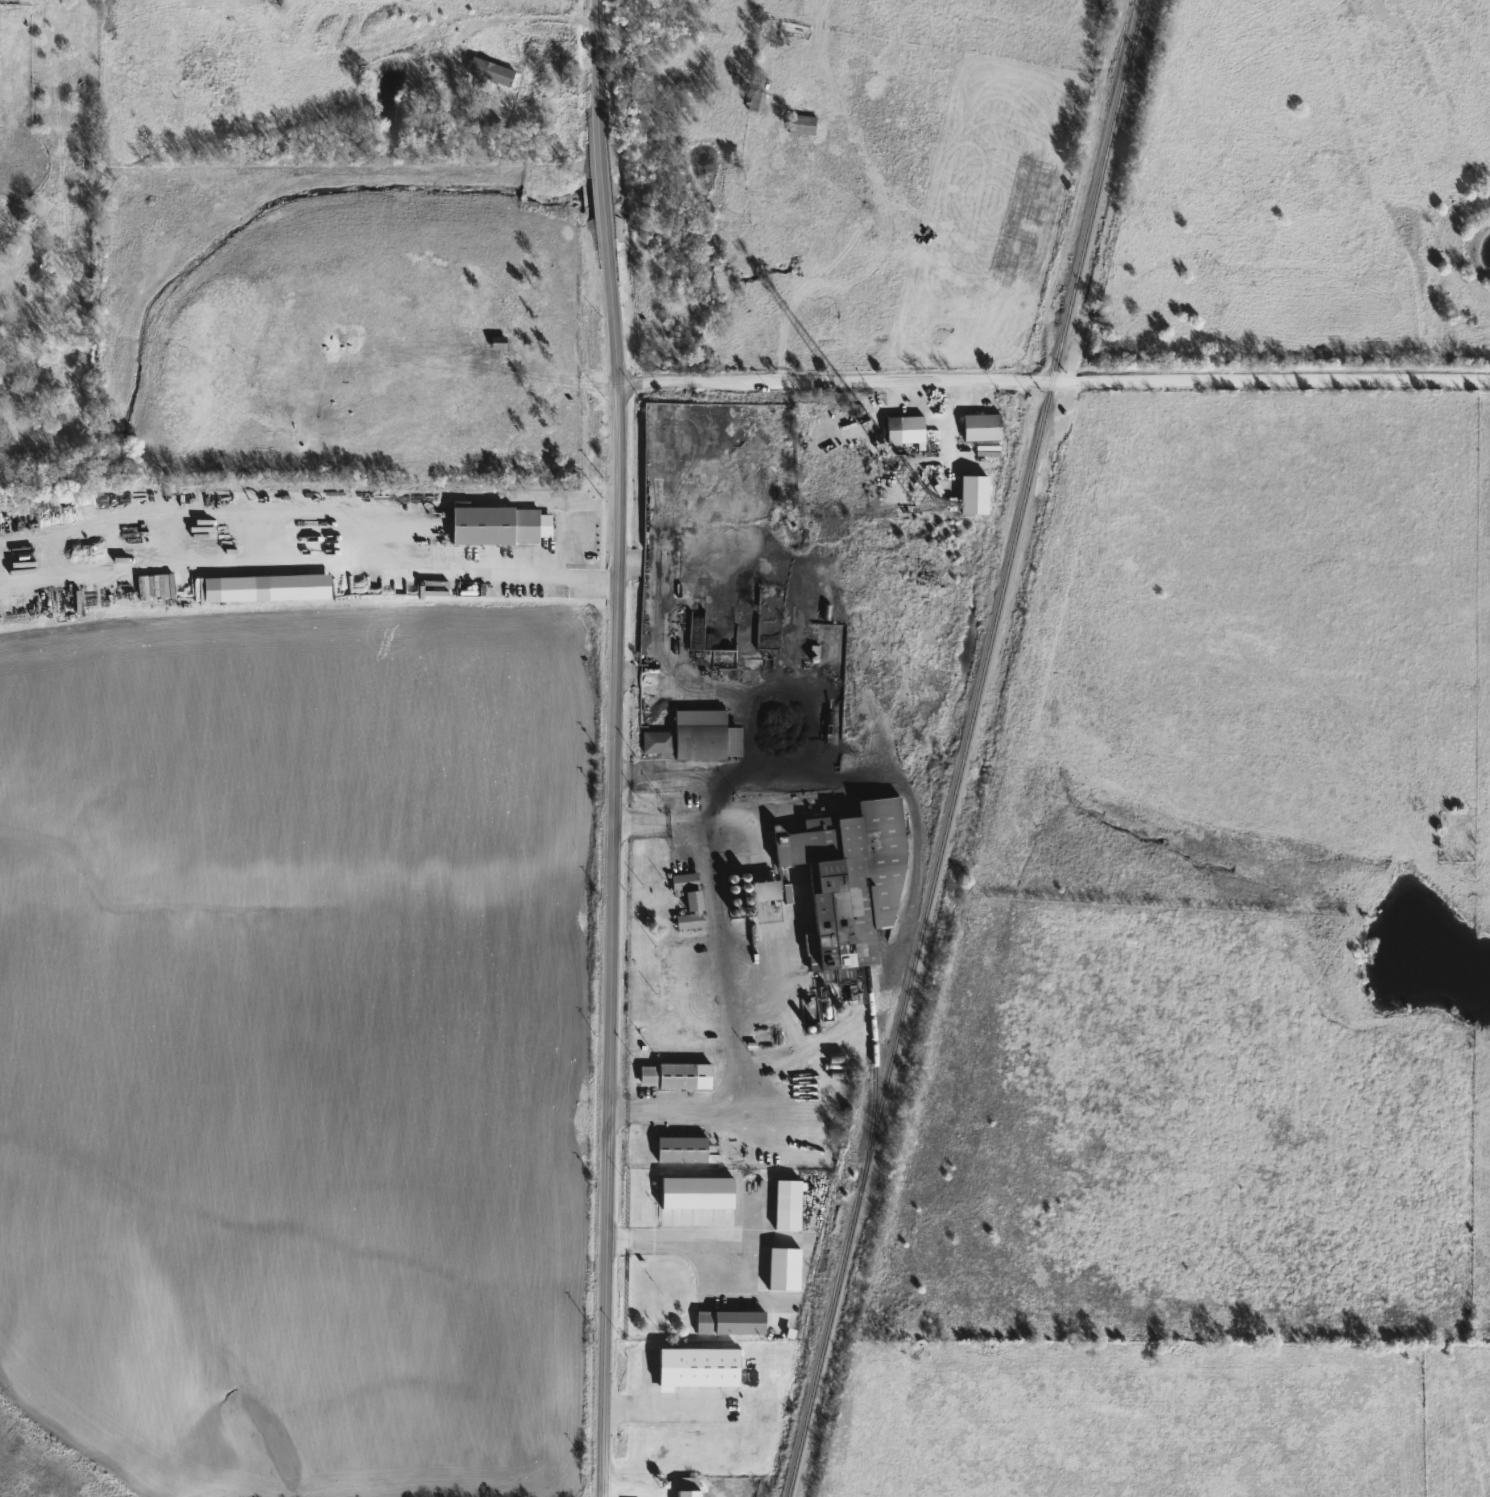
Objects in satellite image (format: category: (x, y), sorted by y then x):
road: (519, 19)
building: (488, 72)
building: (755, 101)
road: (1050, 383)
building: (980, 428)
building: (903, 430)
building: (498, 526)
building: (203, 543)
road: (305, 563)
building: (695, 737)
road: (610, 748)
railway: (965, 748)
road: (651, 772)
building: (847, 884)
building: (764, 890)
building: (687, 899)
road: (714, 930)
railway: (872, 1041)
building: (673, 1076)
road: (687, 1108)
building: (680, 1149)
building: (786, 1205)
road: (700, 1245)
building: (729, 1323)
building: (696, 1367)
road: (666, 1408)
building: (687, 1487)

